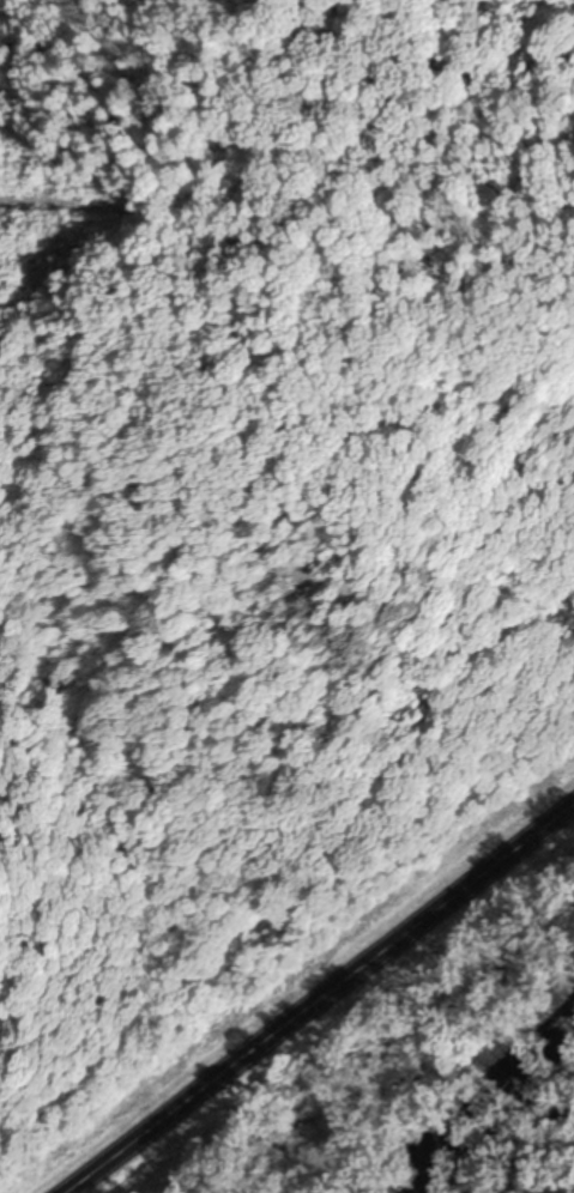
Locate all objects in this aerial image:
road: (321, 999)

